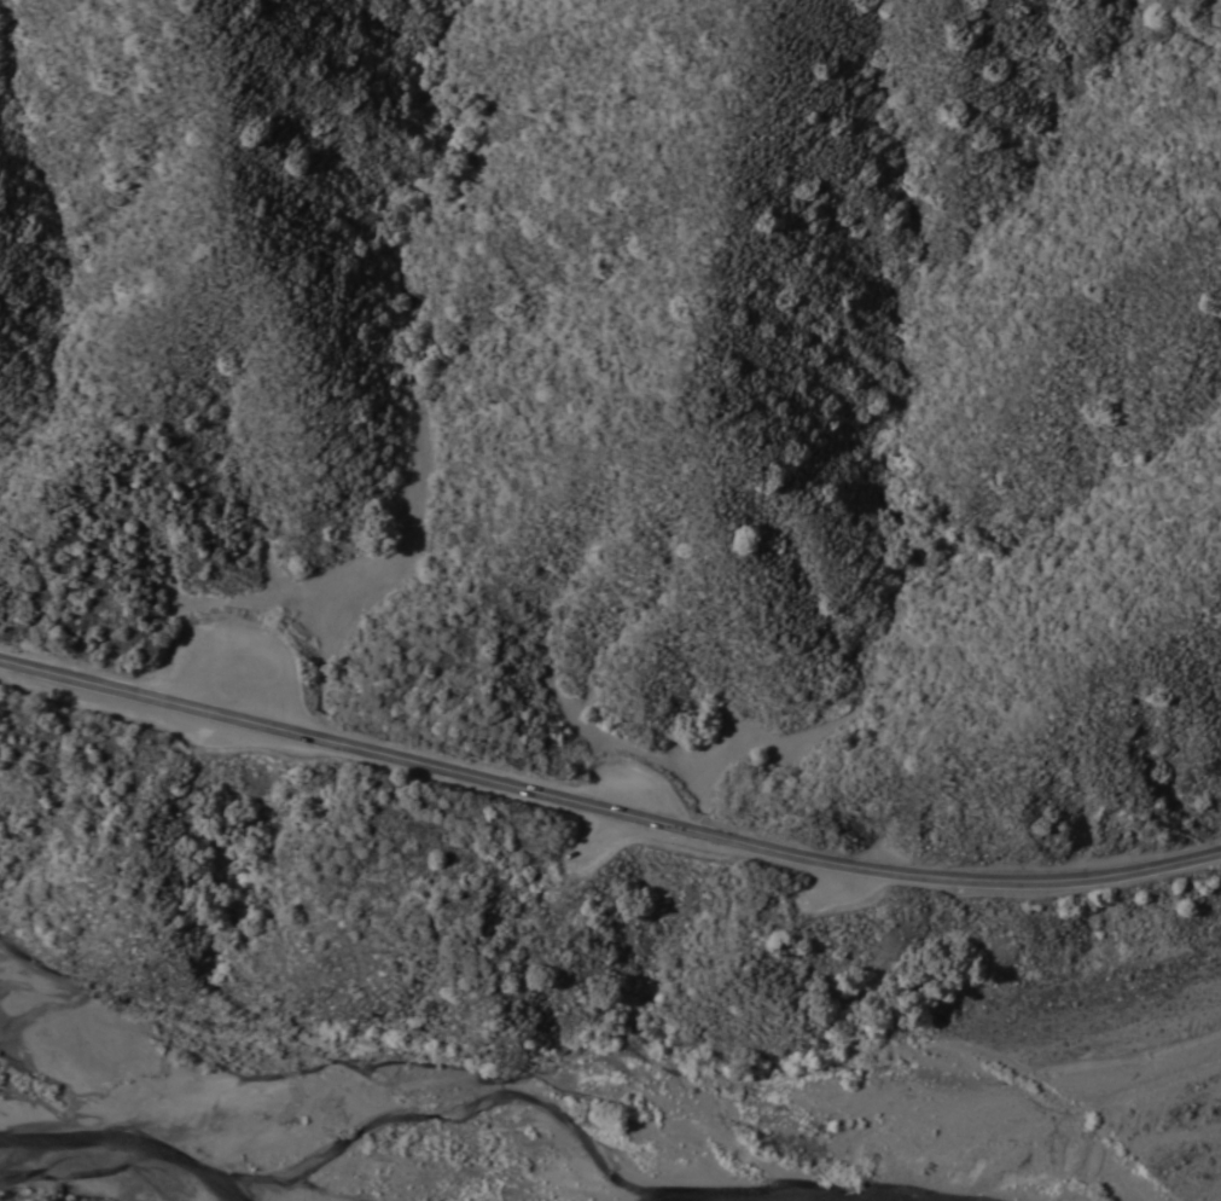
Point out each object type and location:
parking lot: (228, 669)
parking lot: (636, 789)
road: (605, 808)
river: (127, 1138)
river: (786, 1193)

